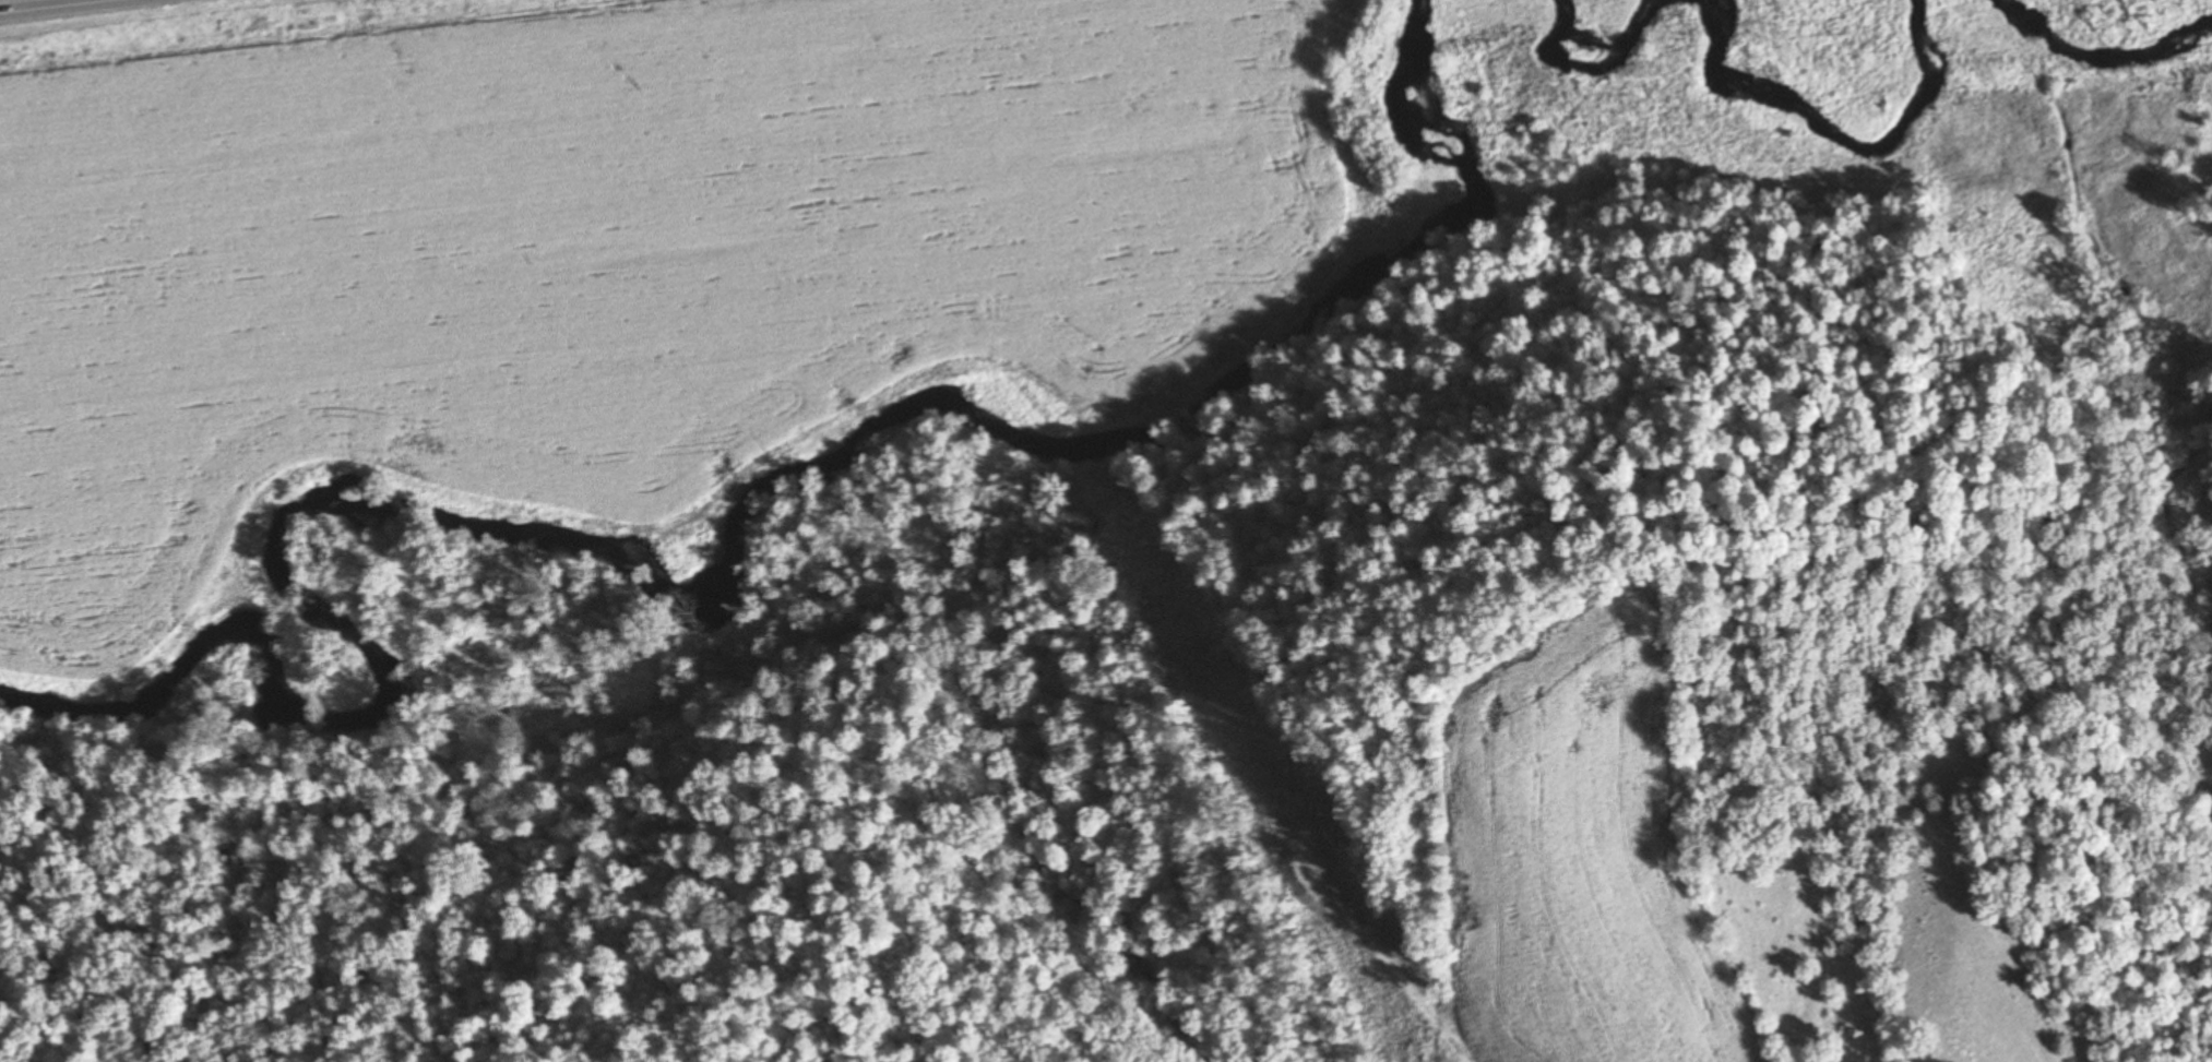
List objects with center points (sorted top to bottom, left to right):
road: (33, 3)

